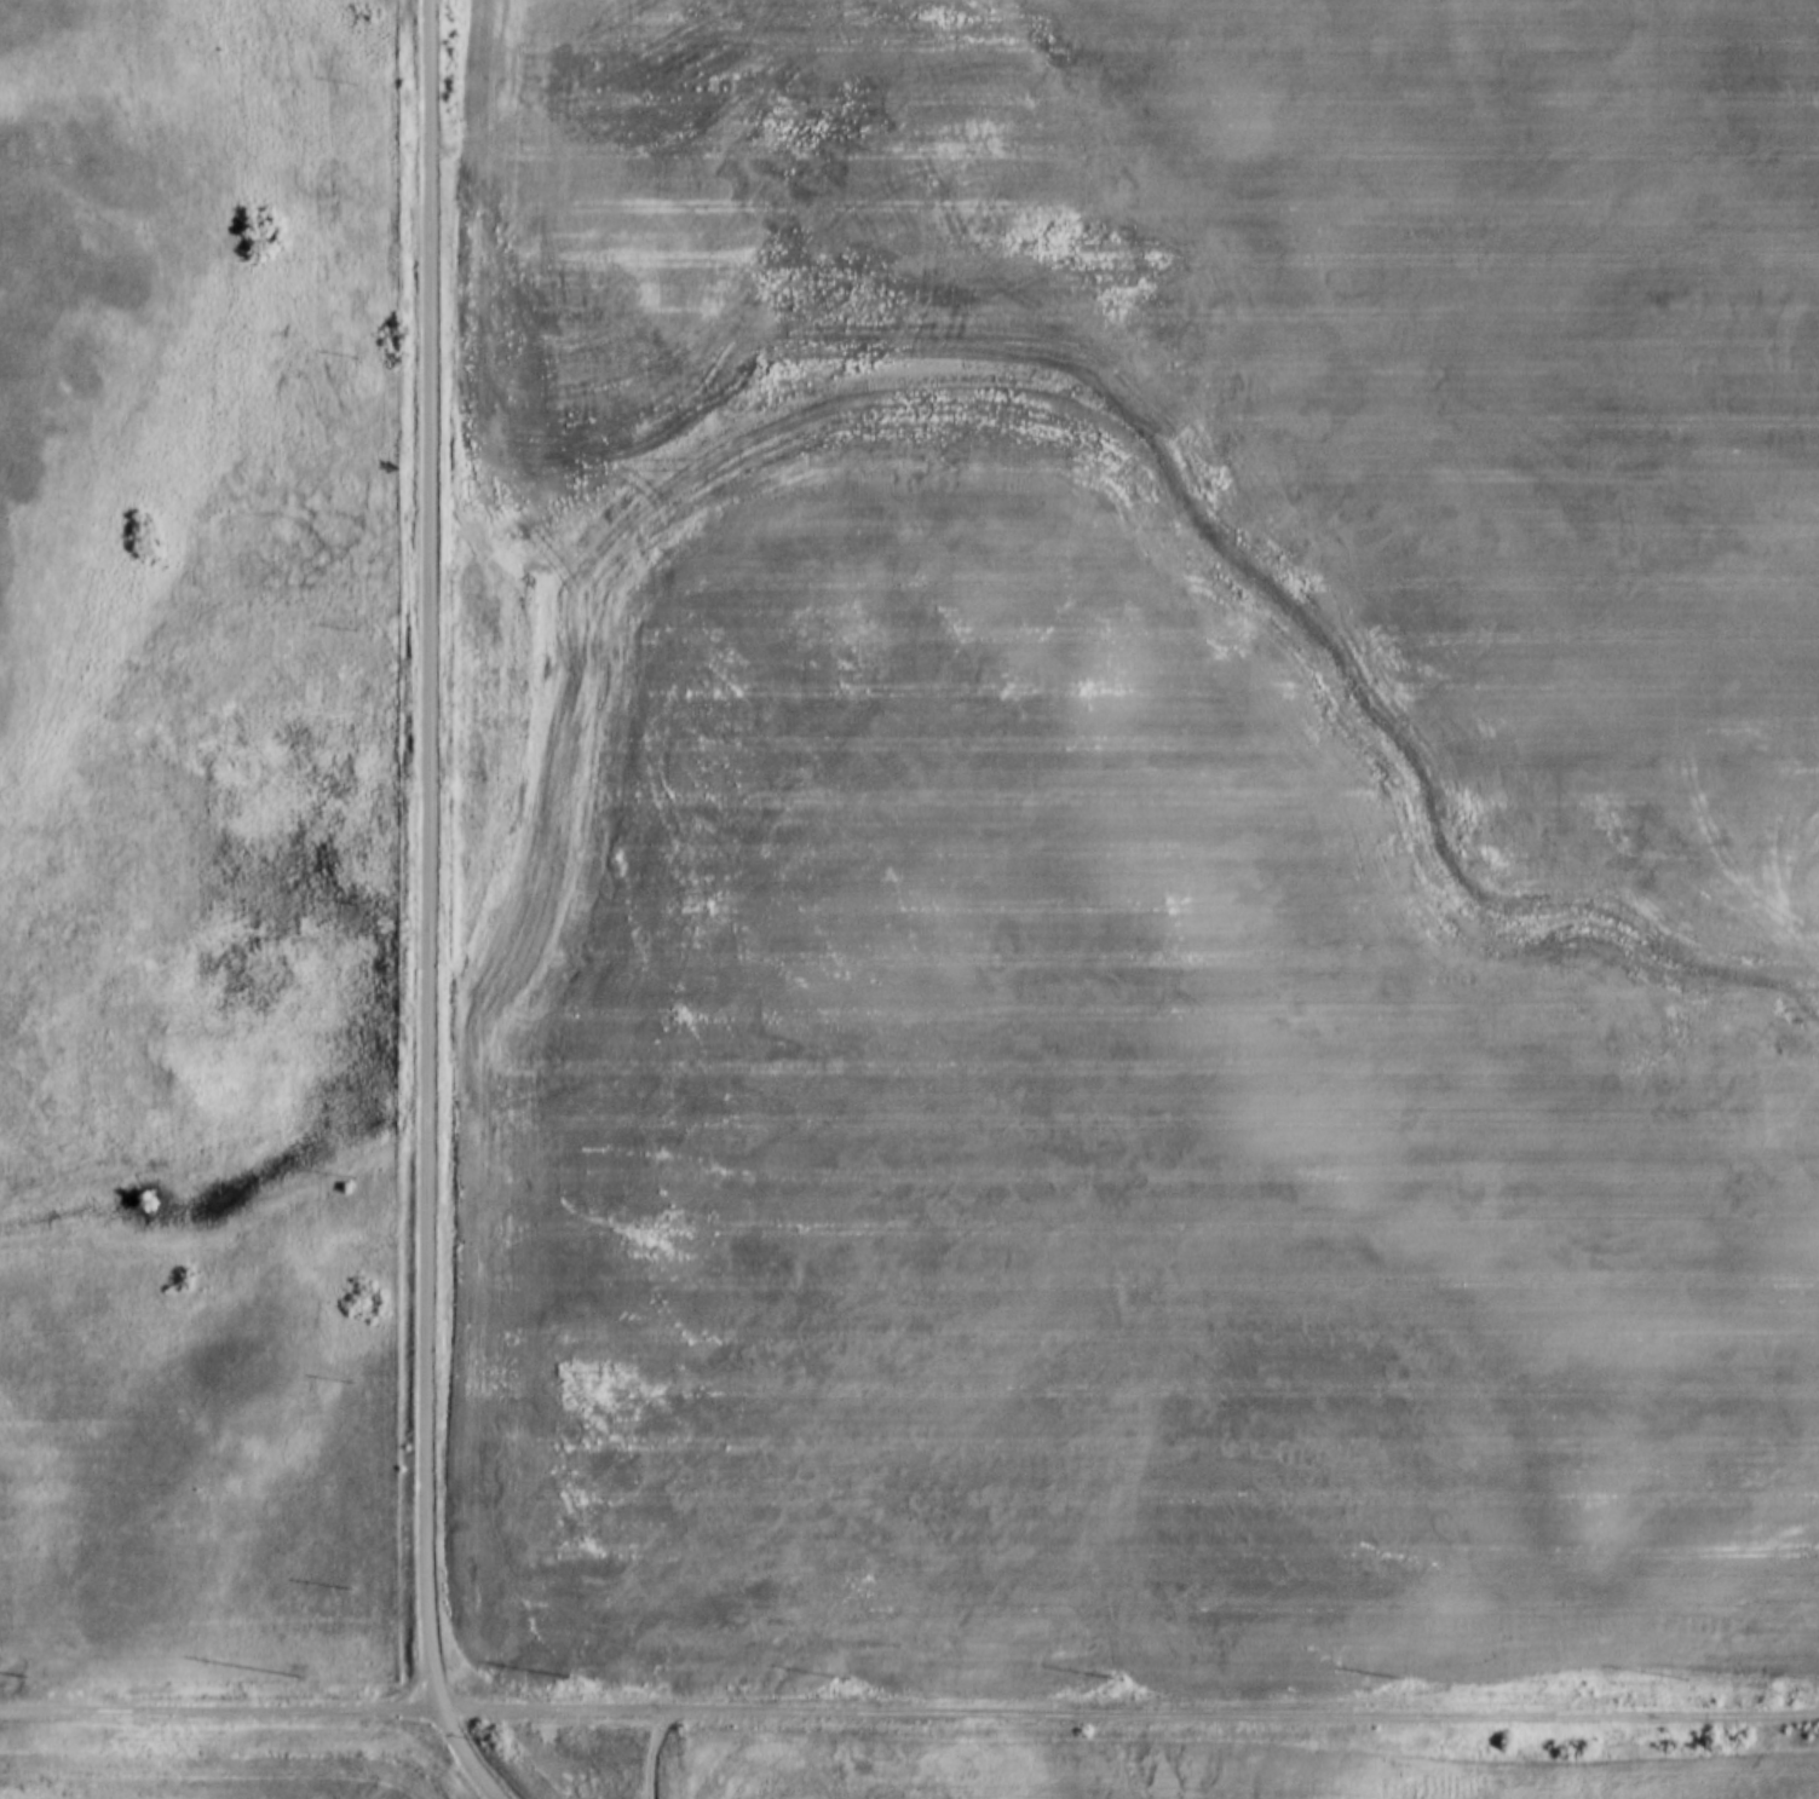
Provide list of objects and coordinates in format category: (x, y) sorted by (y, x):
road: (430, 854)
road: (220, 1709)
road: (1129, 1714)
road: (655, 1751)
road: (465, 1755)

